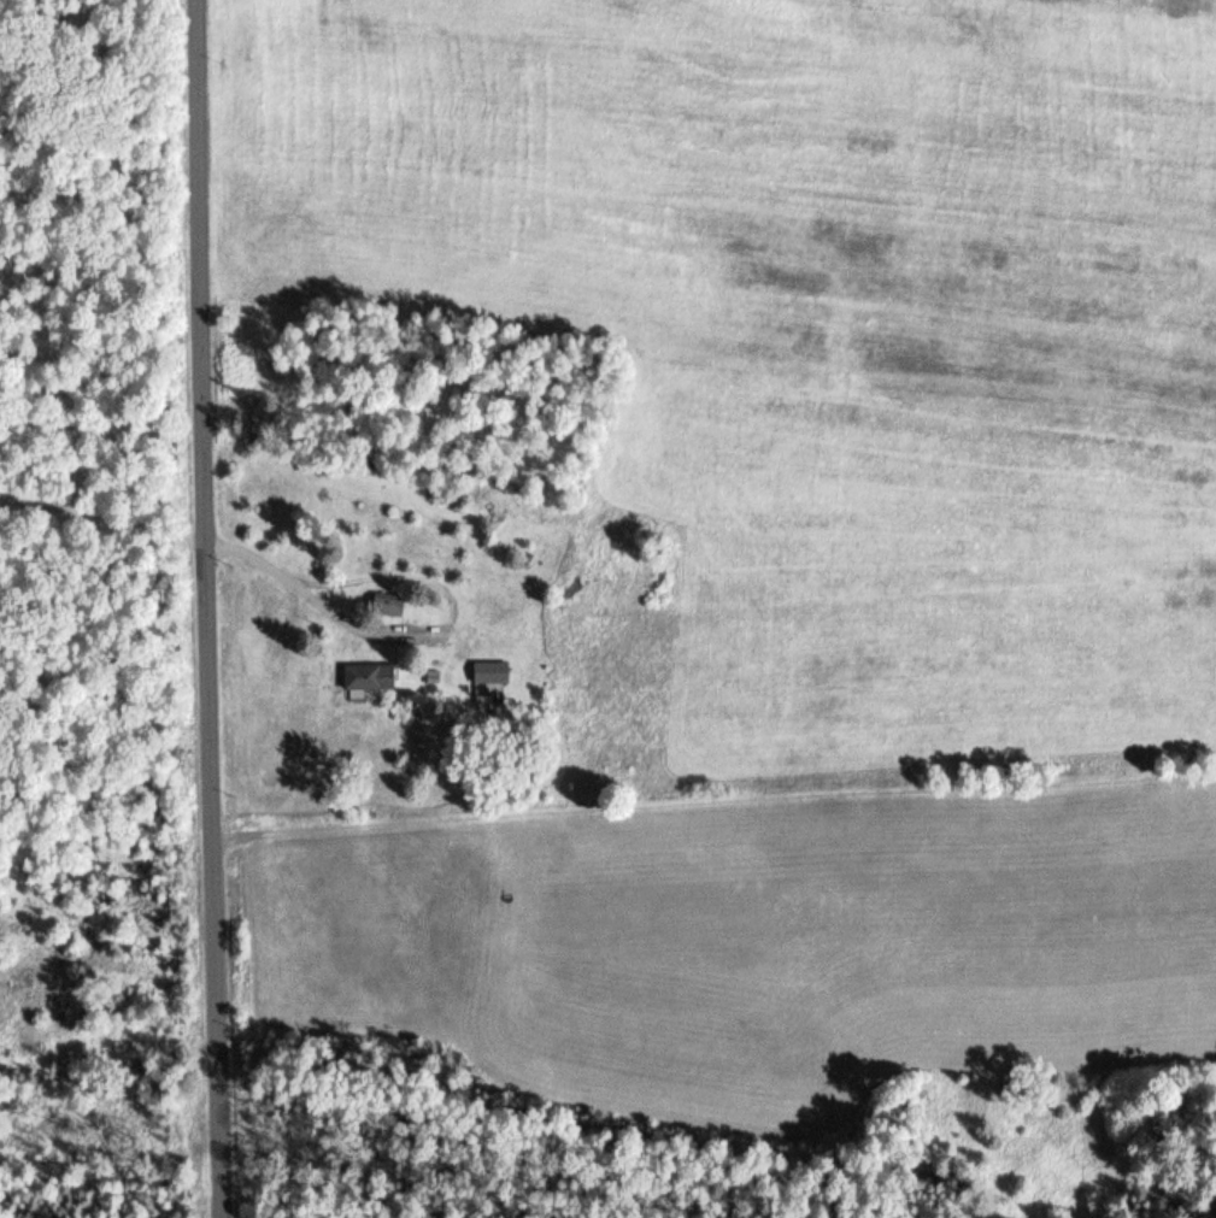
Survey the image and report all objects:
road: (319, 602)
building: (389, 605)
road: (205, 608)
building: (493, 672)
building: (370, 679)
road: (712, 811)

